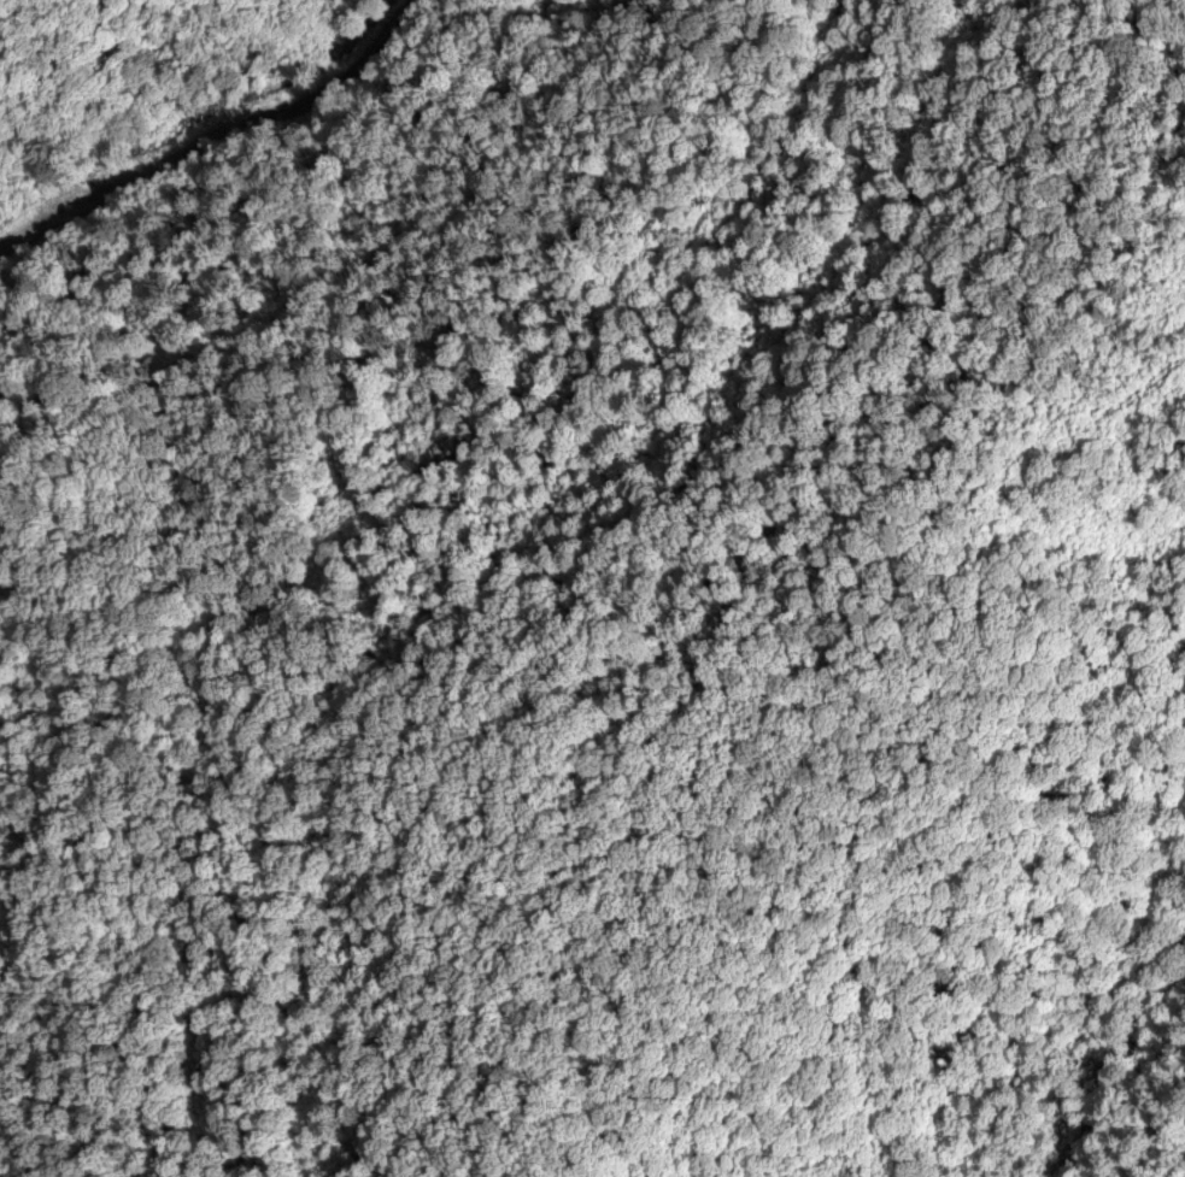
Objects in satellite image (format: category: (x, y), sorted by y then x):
road: (211, 128)

